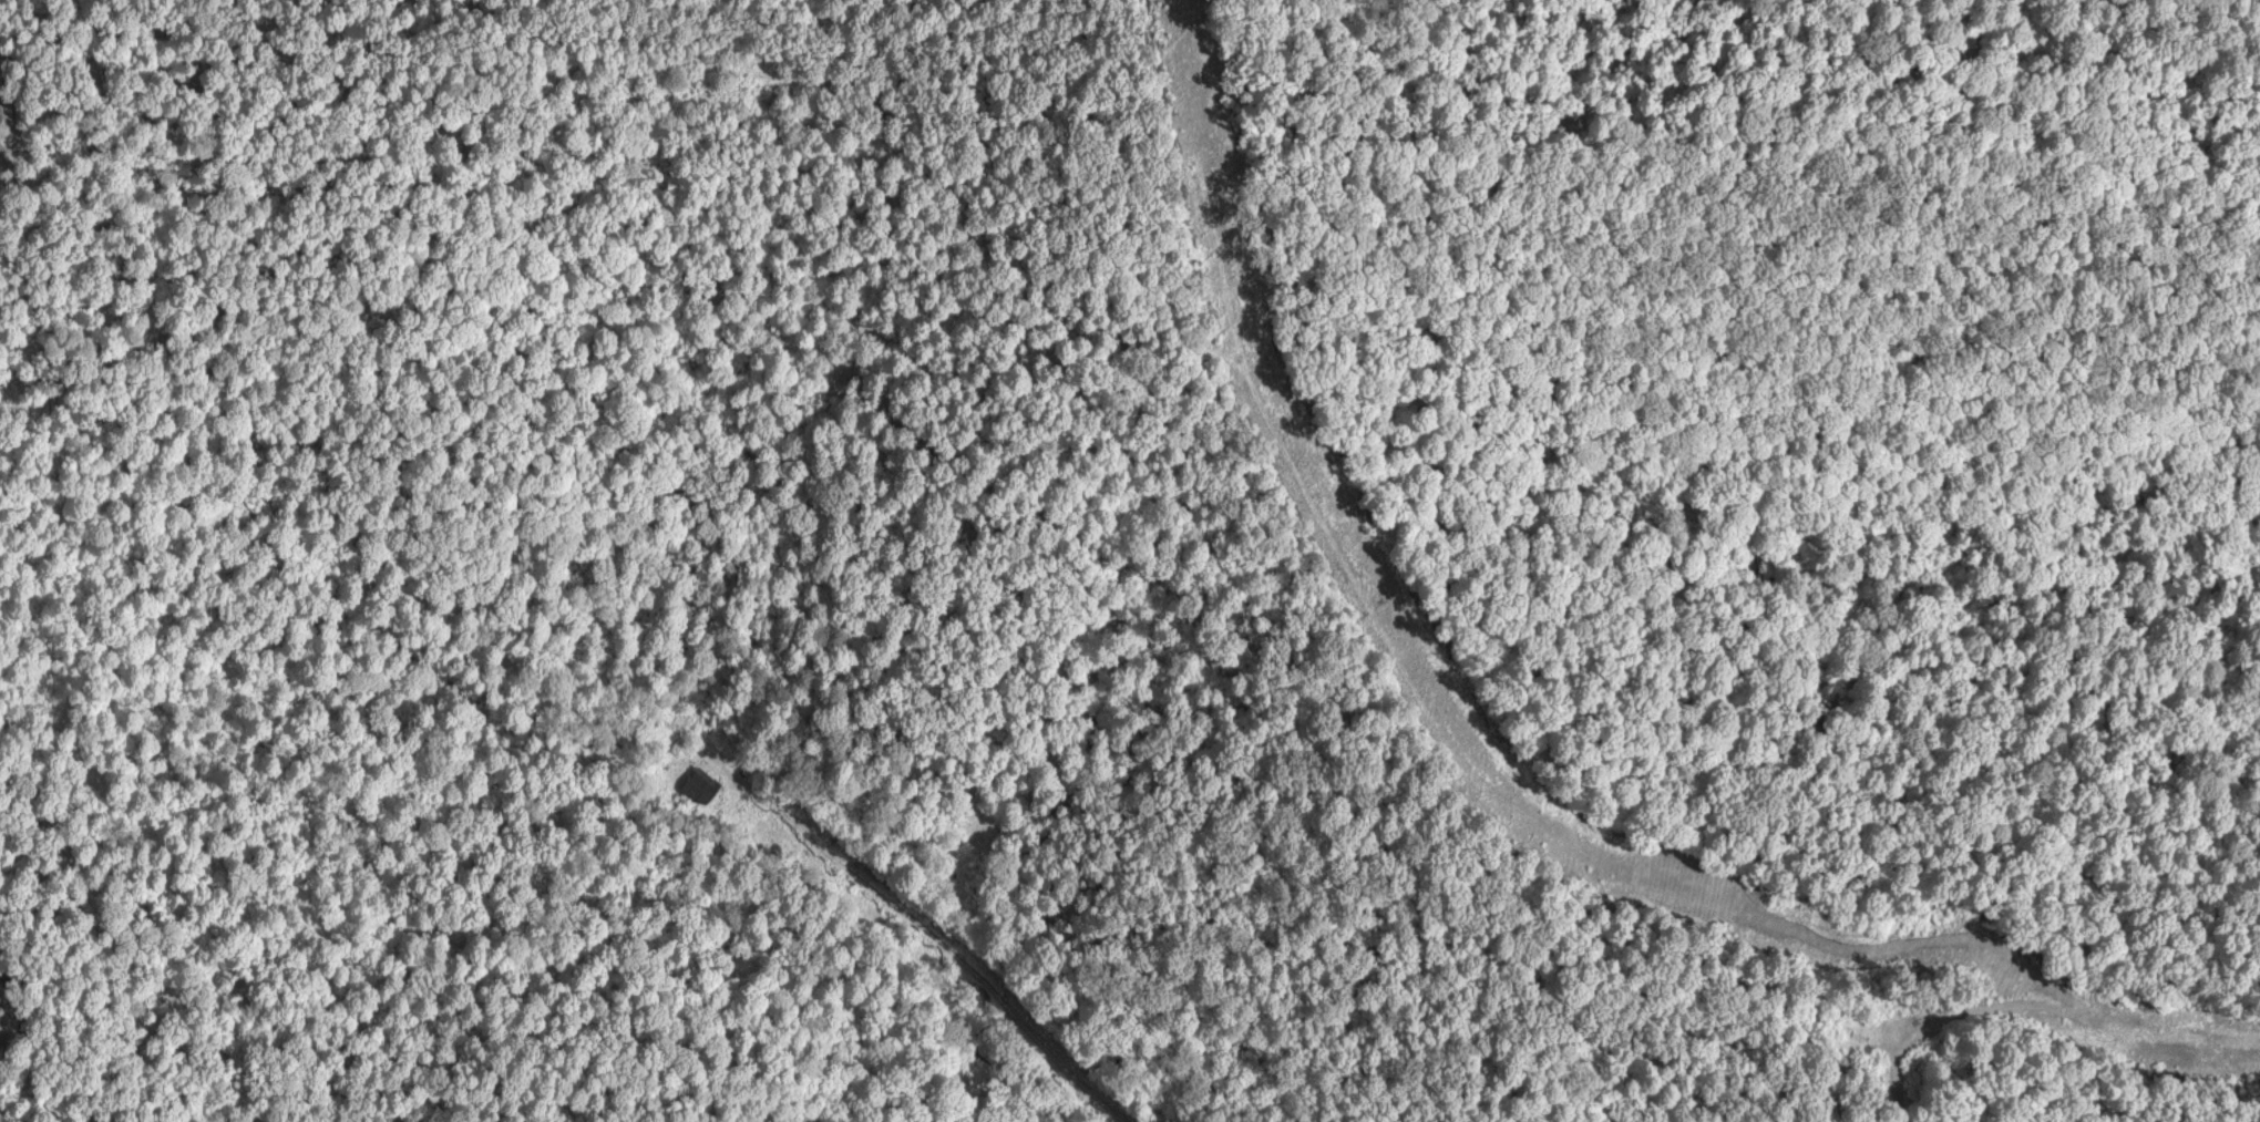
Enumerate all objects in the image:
road: (946, 894)
road: (1718, 1116)

